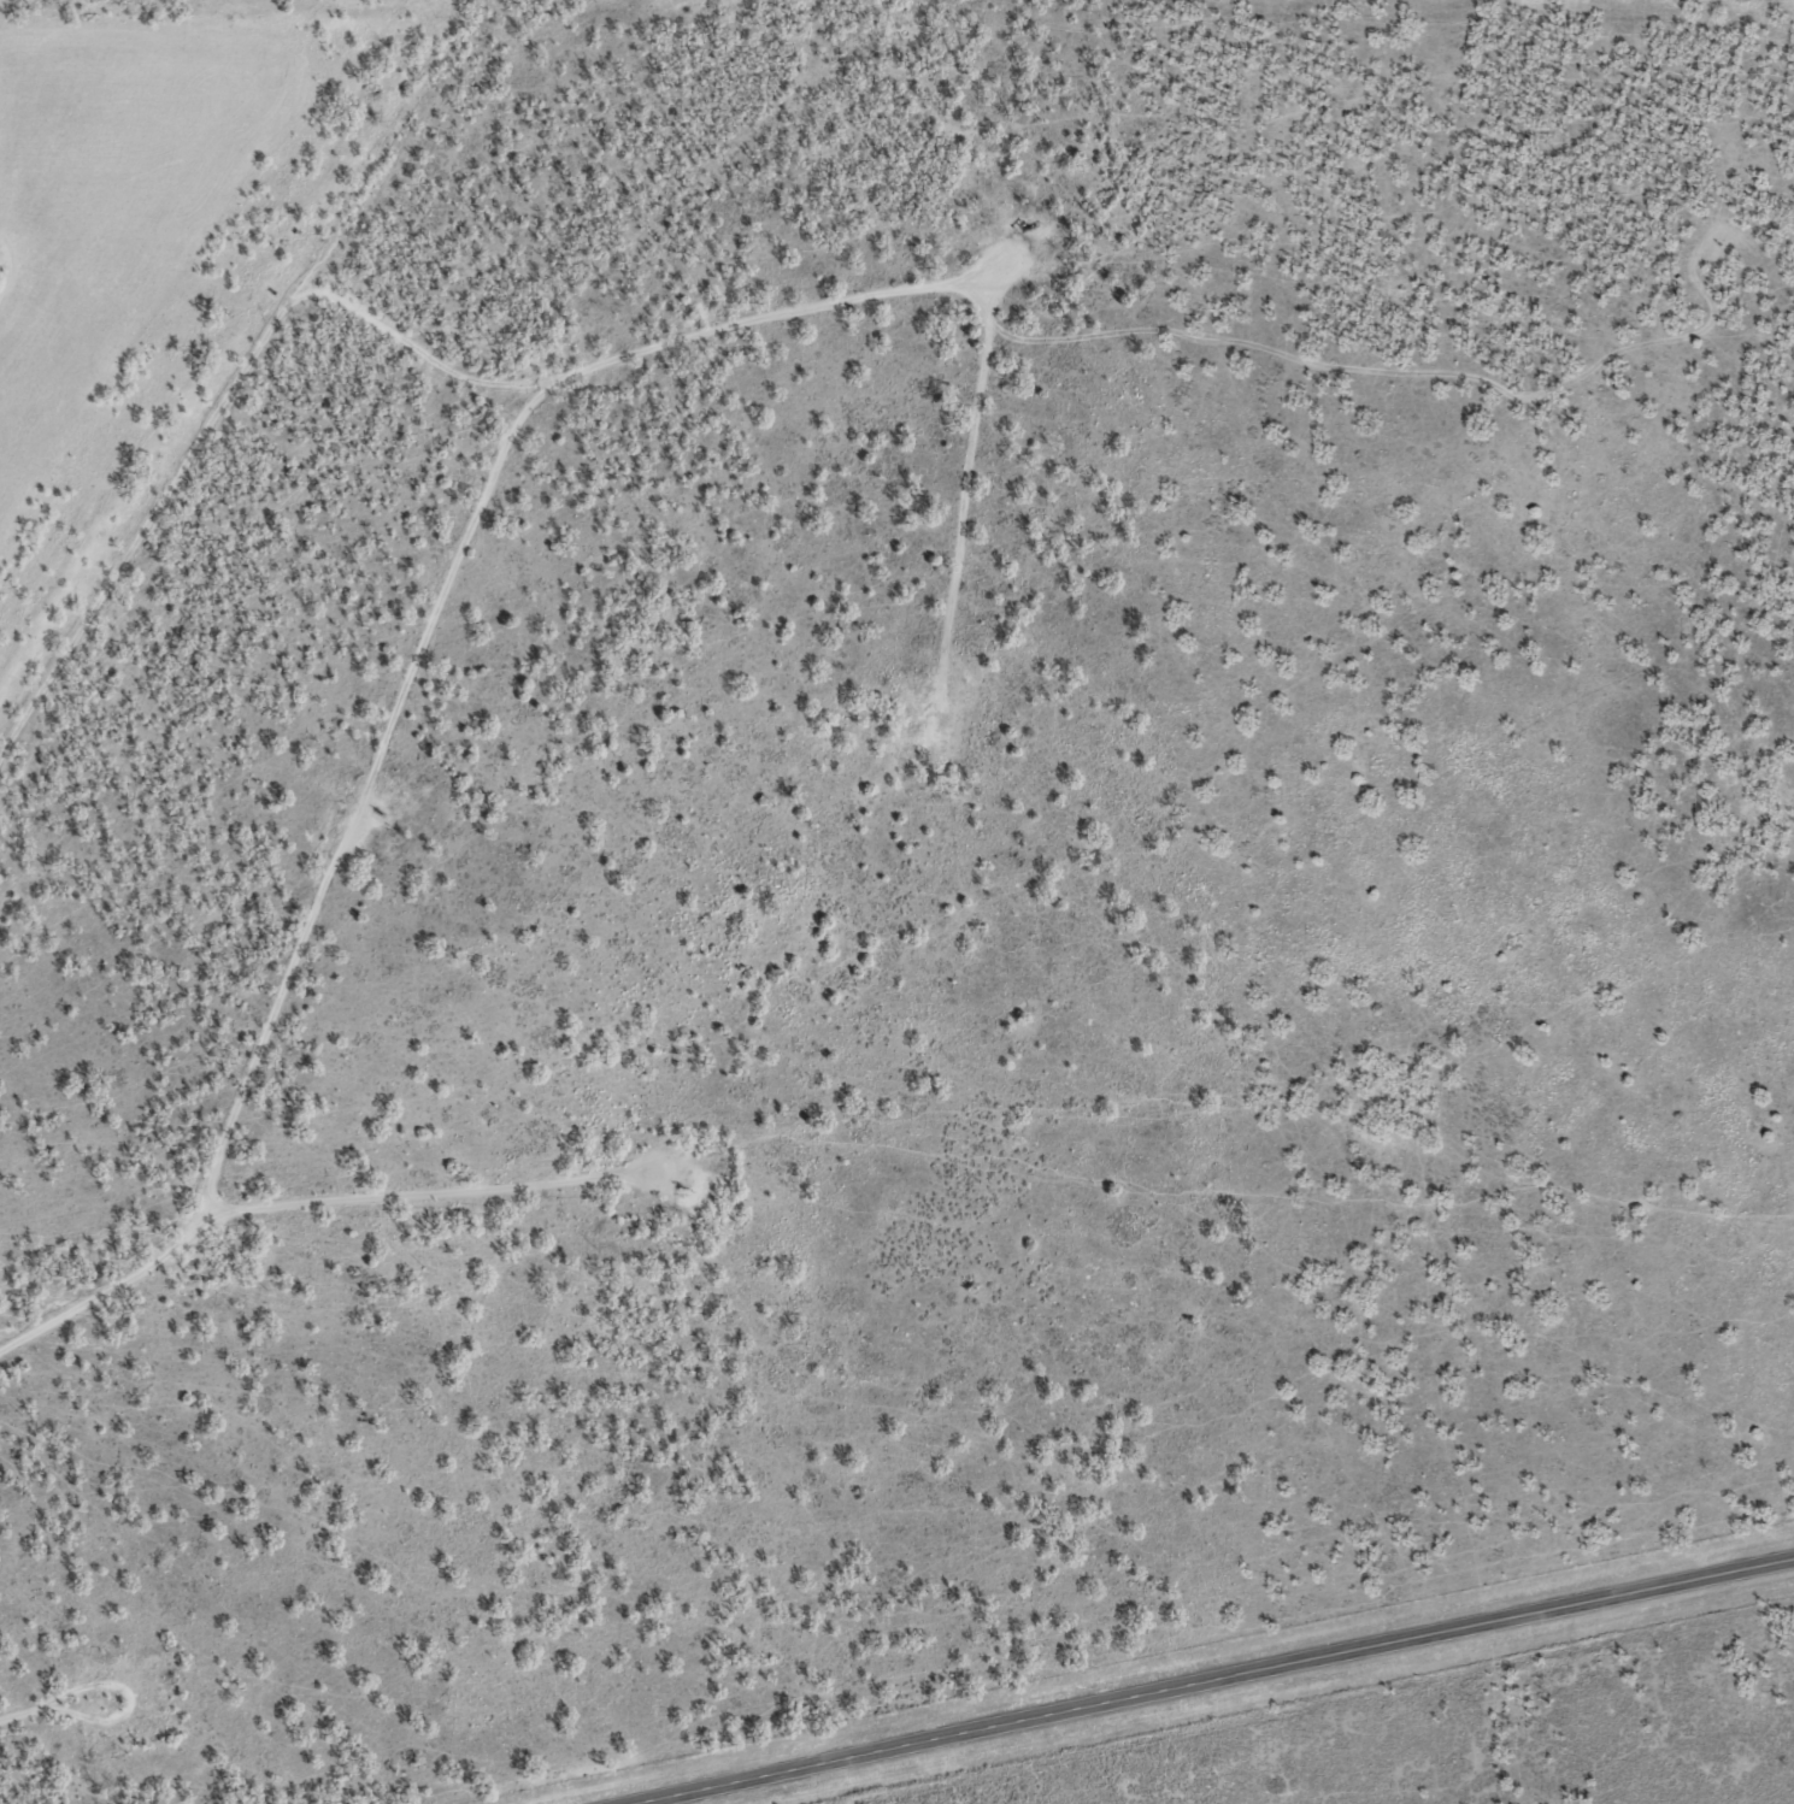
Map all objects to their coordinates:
road: (1205, 1682)

